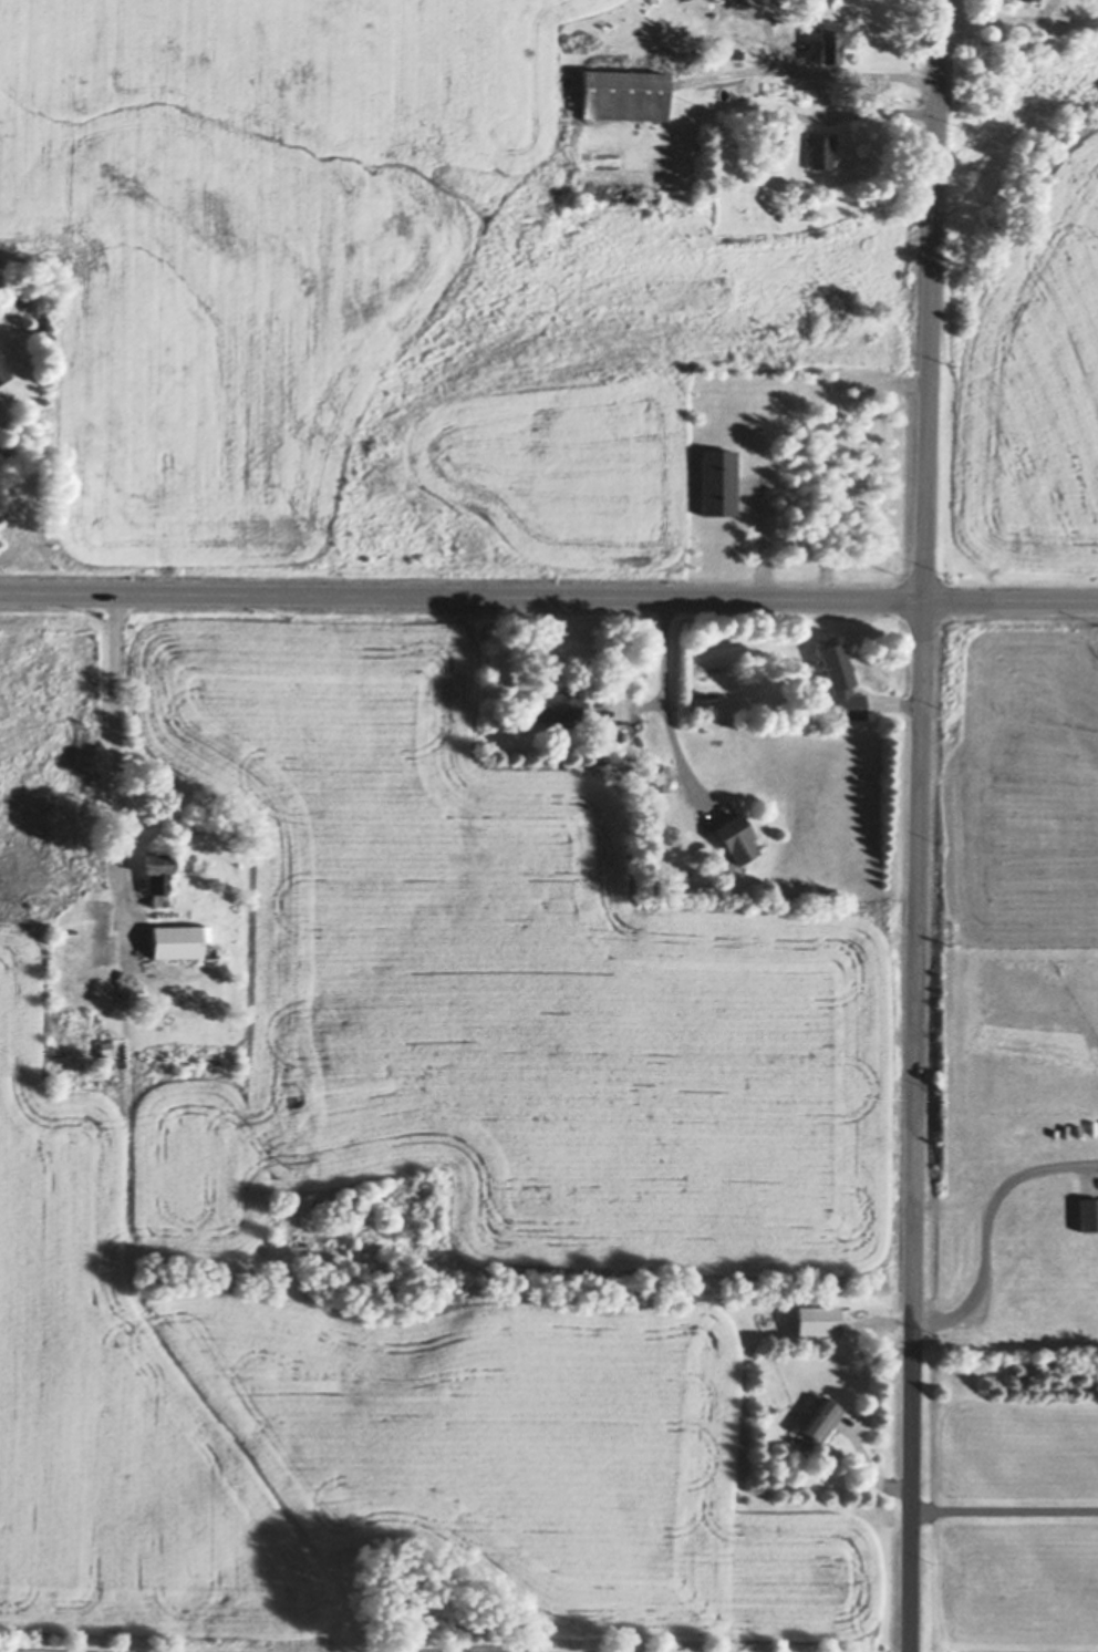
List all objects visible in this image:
building: (1024, 0)
building: (830, 41)
building: (737, 52)
road: (818, 74)
building: (624, 94)
building: (822, 149)
building: (3, 371)
building: (718, 482)
road: (549, 596)
building: (842, 683)
building: (558, 706)
road: (665, 709)
building: (621, 734)
building: (635, 743)
building: (661, 777)
road: (922, 825)
building: (738, 840)
building: (157, 877)
building: (179, 940)
building: (107, 1053)
building: (1089, 1214)
road: (985, 1226)
building: (819, 1320)
building: (822, 1418)
road: (1005, 1508)

